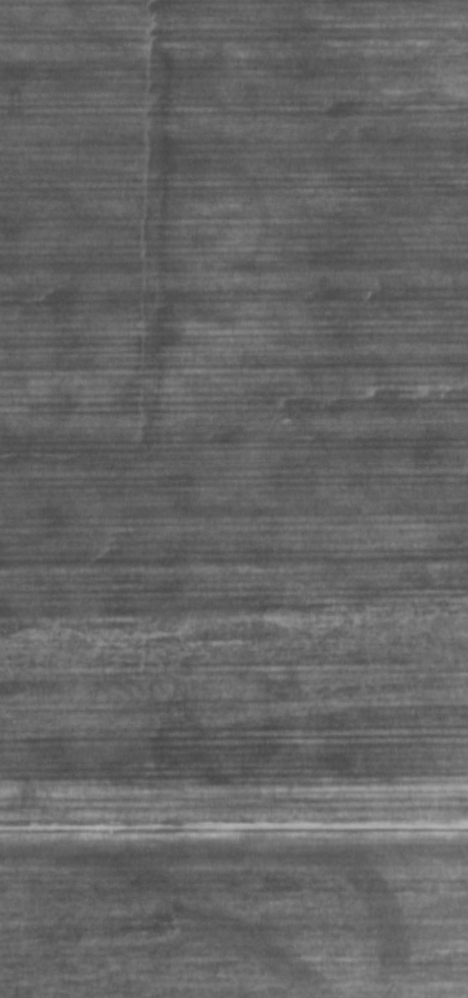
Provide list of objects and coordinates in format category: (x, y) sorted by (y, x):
road: (234, 828)

